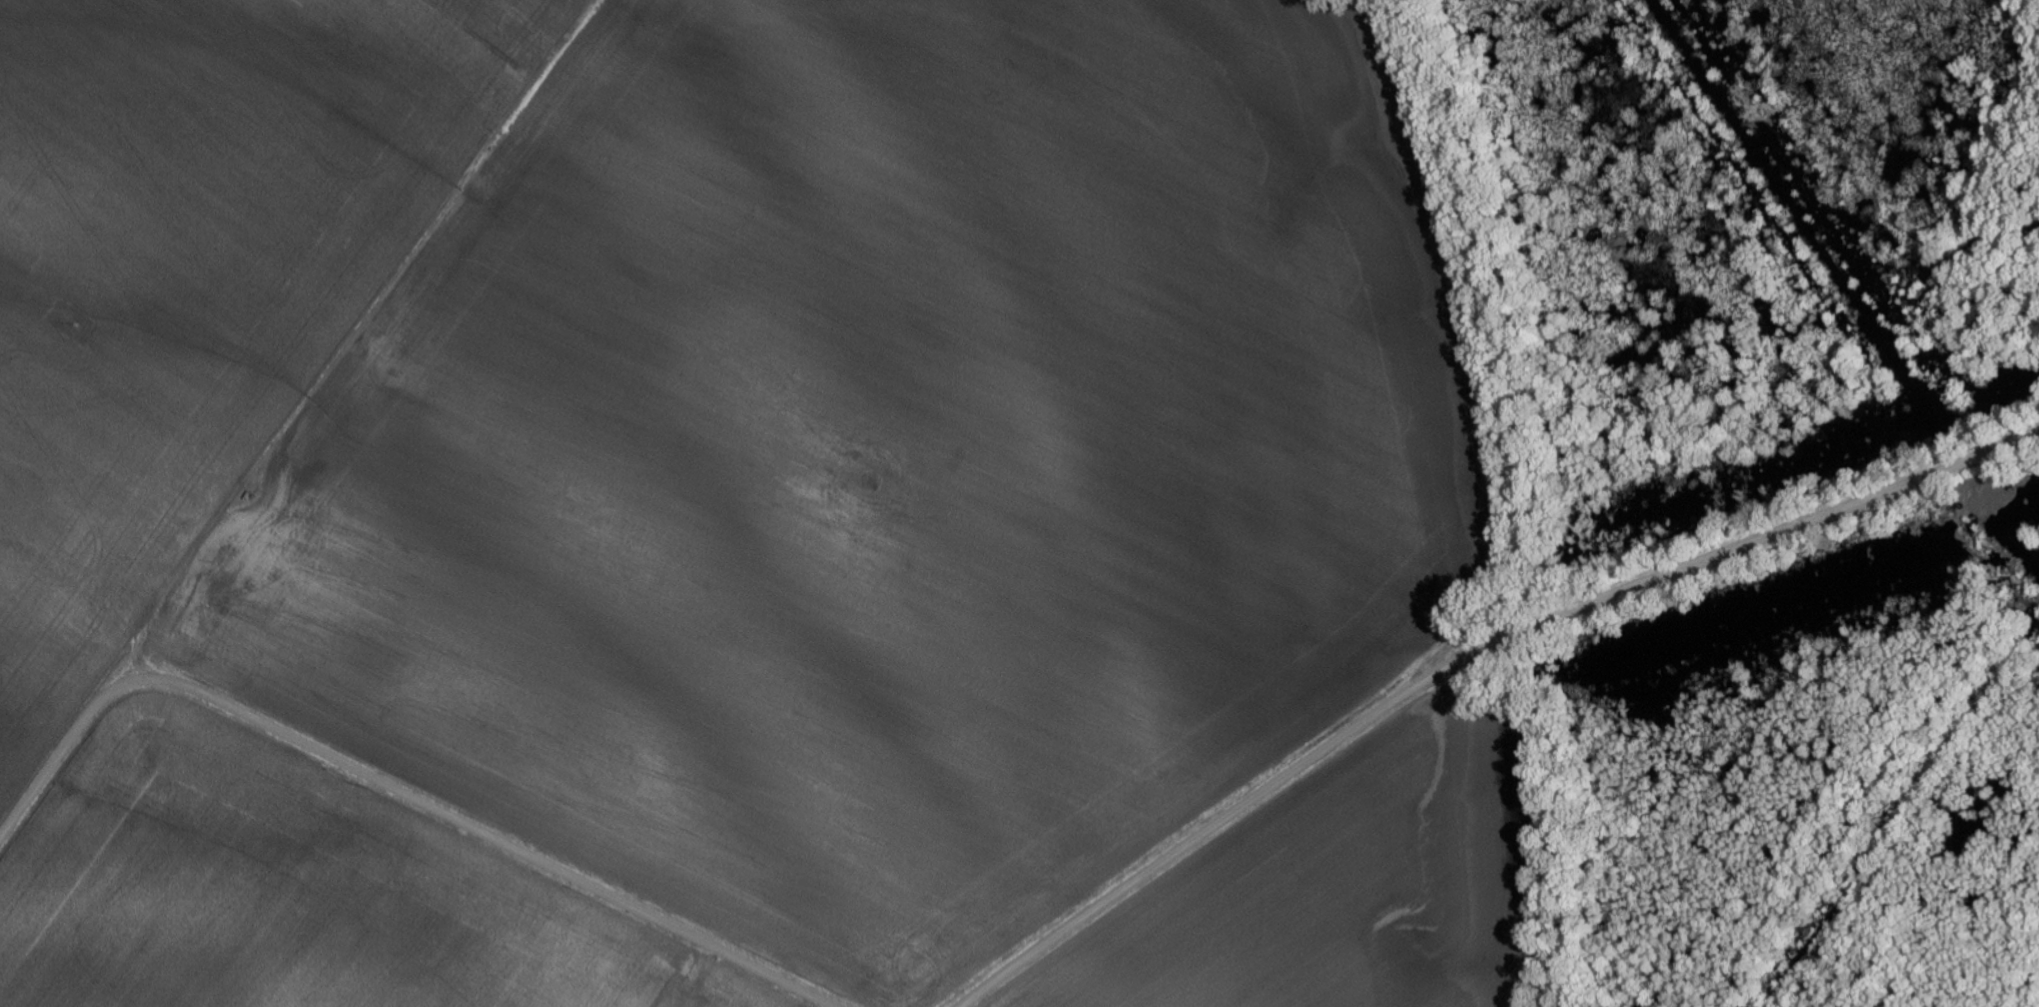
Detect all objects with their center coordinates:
road: (1468, 660)
road: (392, 788)
road: (1891, 805)

